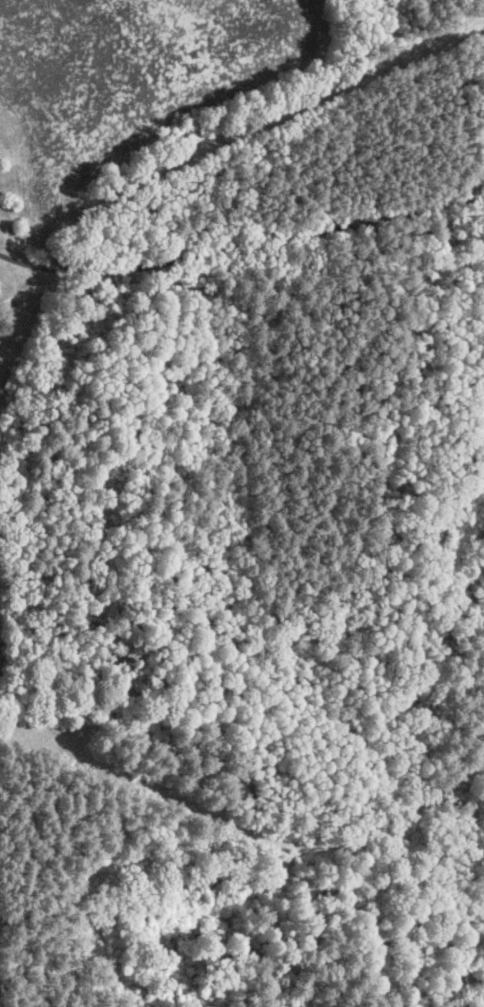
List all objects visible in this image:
road: (412, 114)
road: (241, 253)

